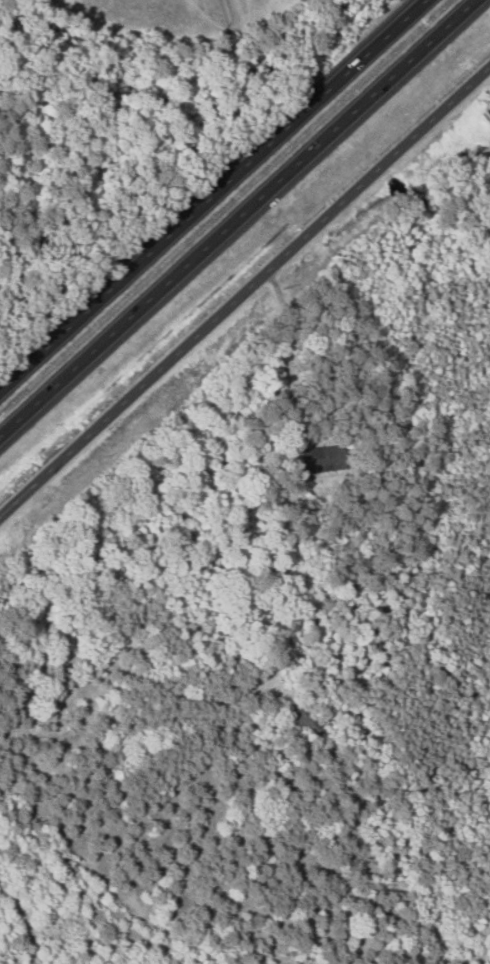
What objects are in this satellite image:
park: (255, 12)
park: (144, 18)
road: (215, 195)
road: (240, 215)
road: (244, 288)

